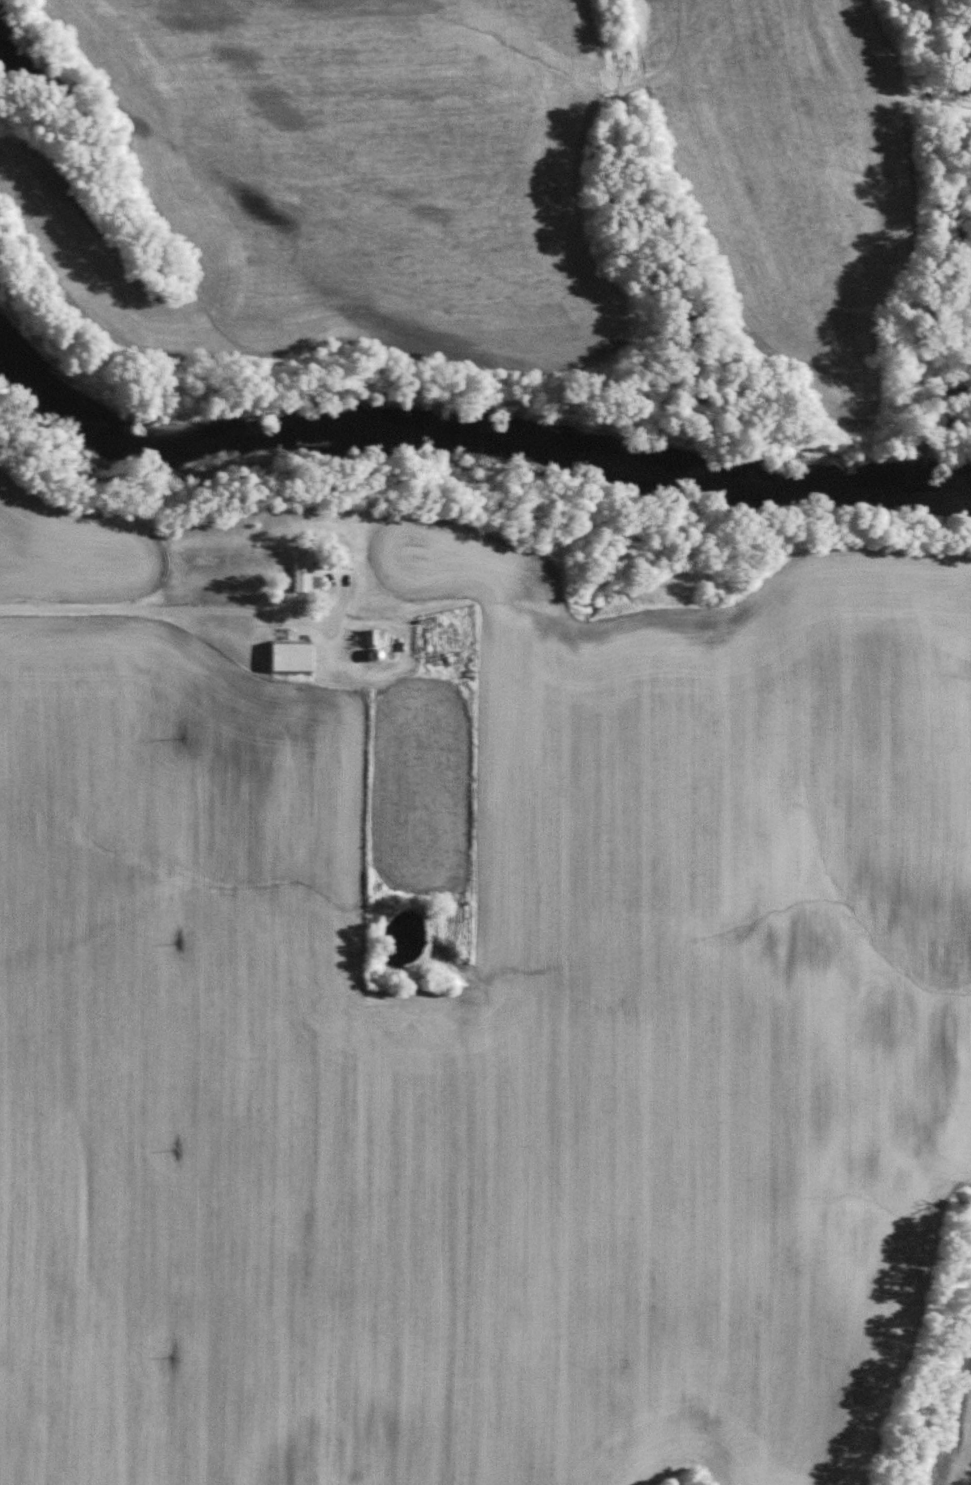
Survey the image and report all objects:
river: (457, 429)
building: (301, 572)
building: (361, 636)
building: (288, 655)

